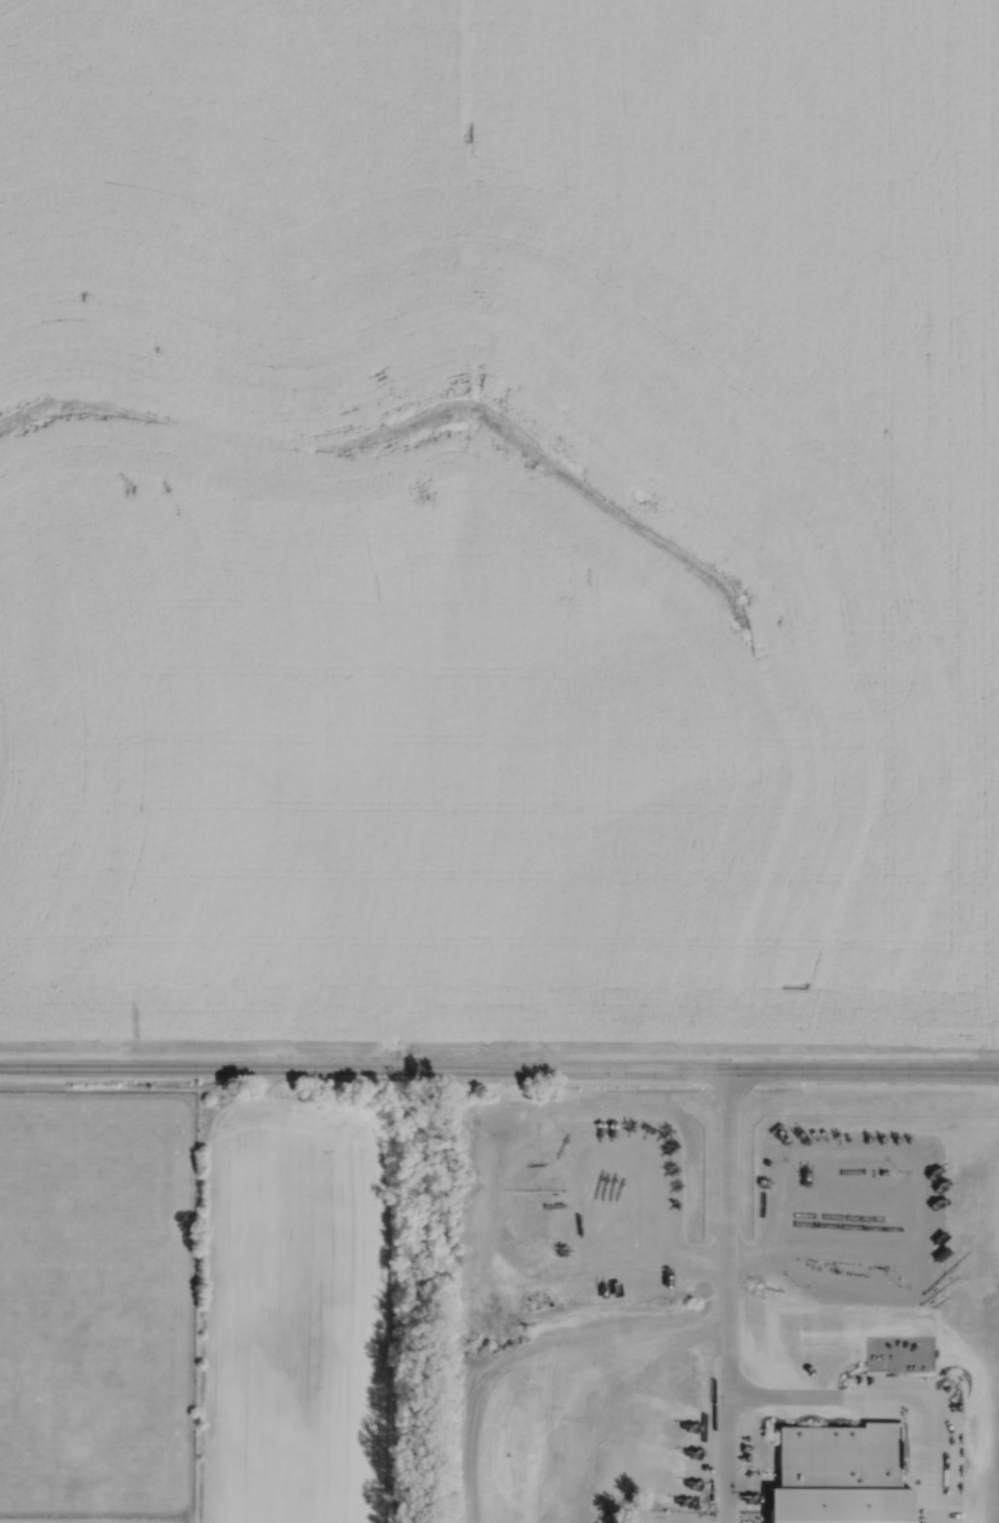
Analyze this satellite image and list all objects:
road: (499, 1069)
road: (728, 1232)
road: (812, 1257)
road: (794, 1394)
road: (935, 1427)
road: (727, 1458)
building: (841, 1475)

